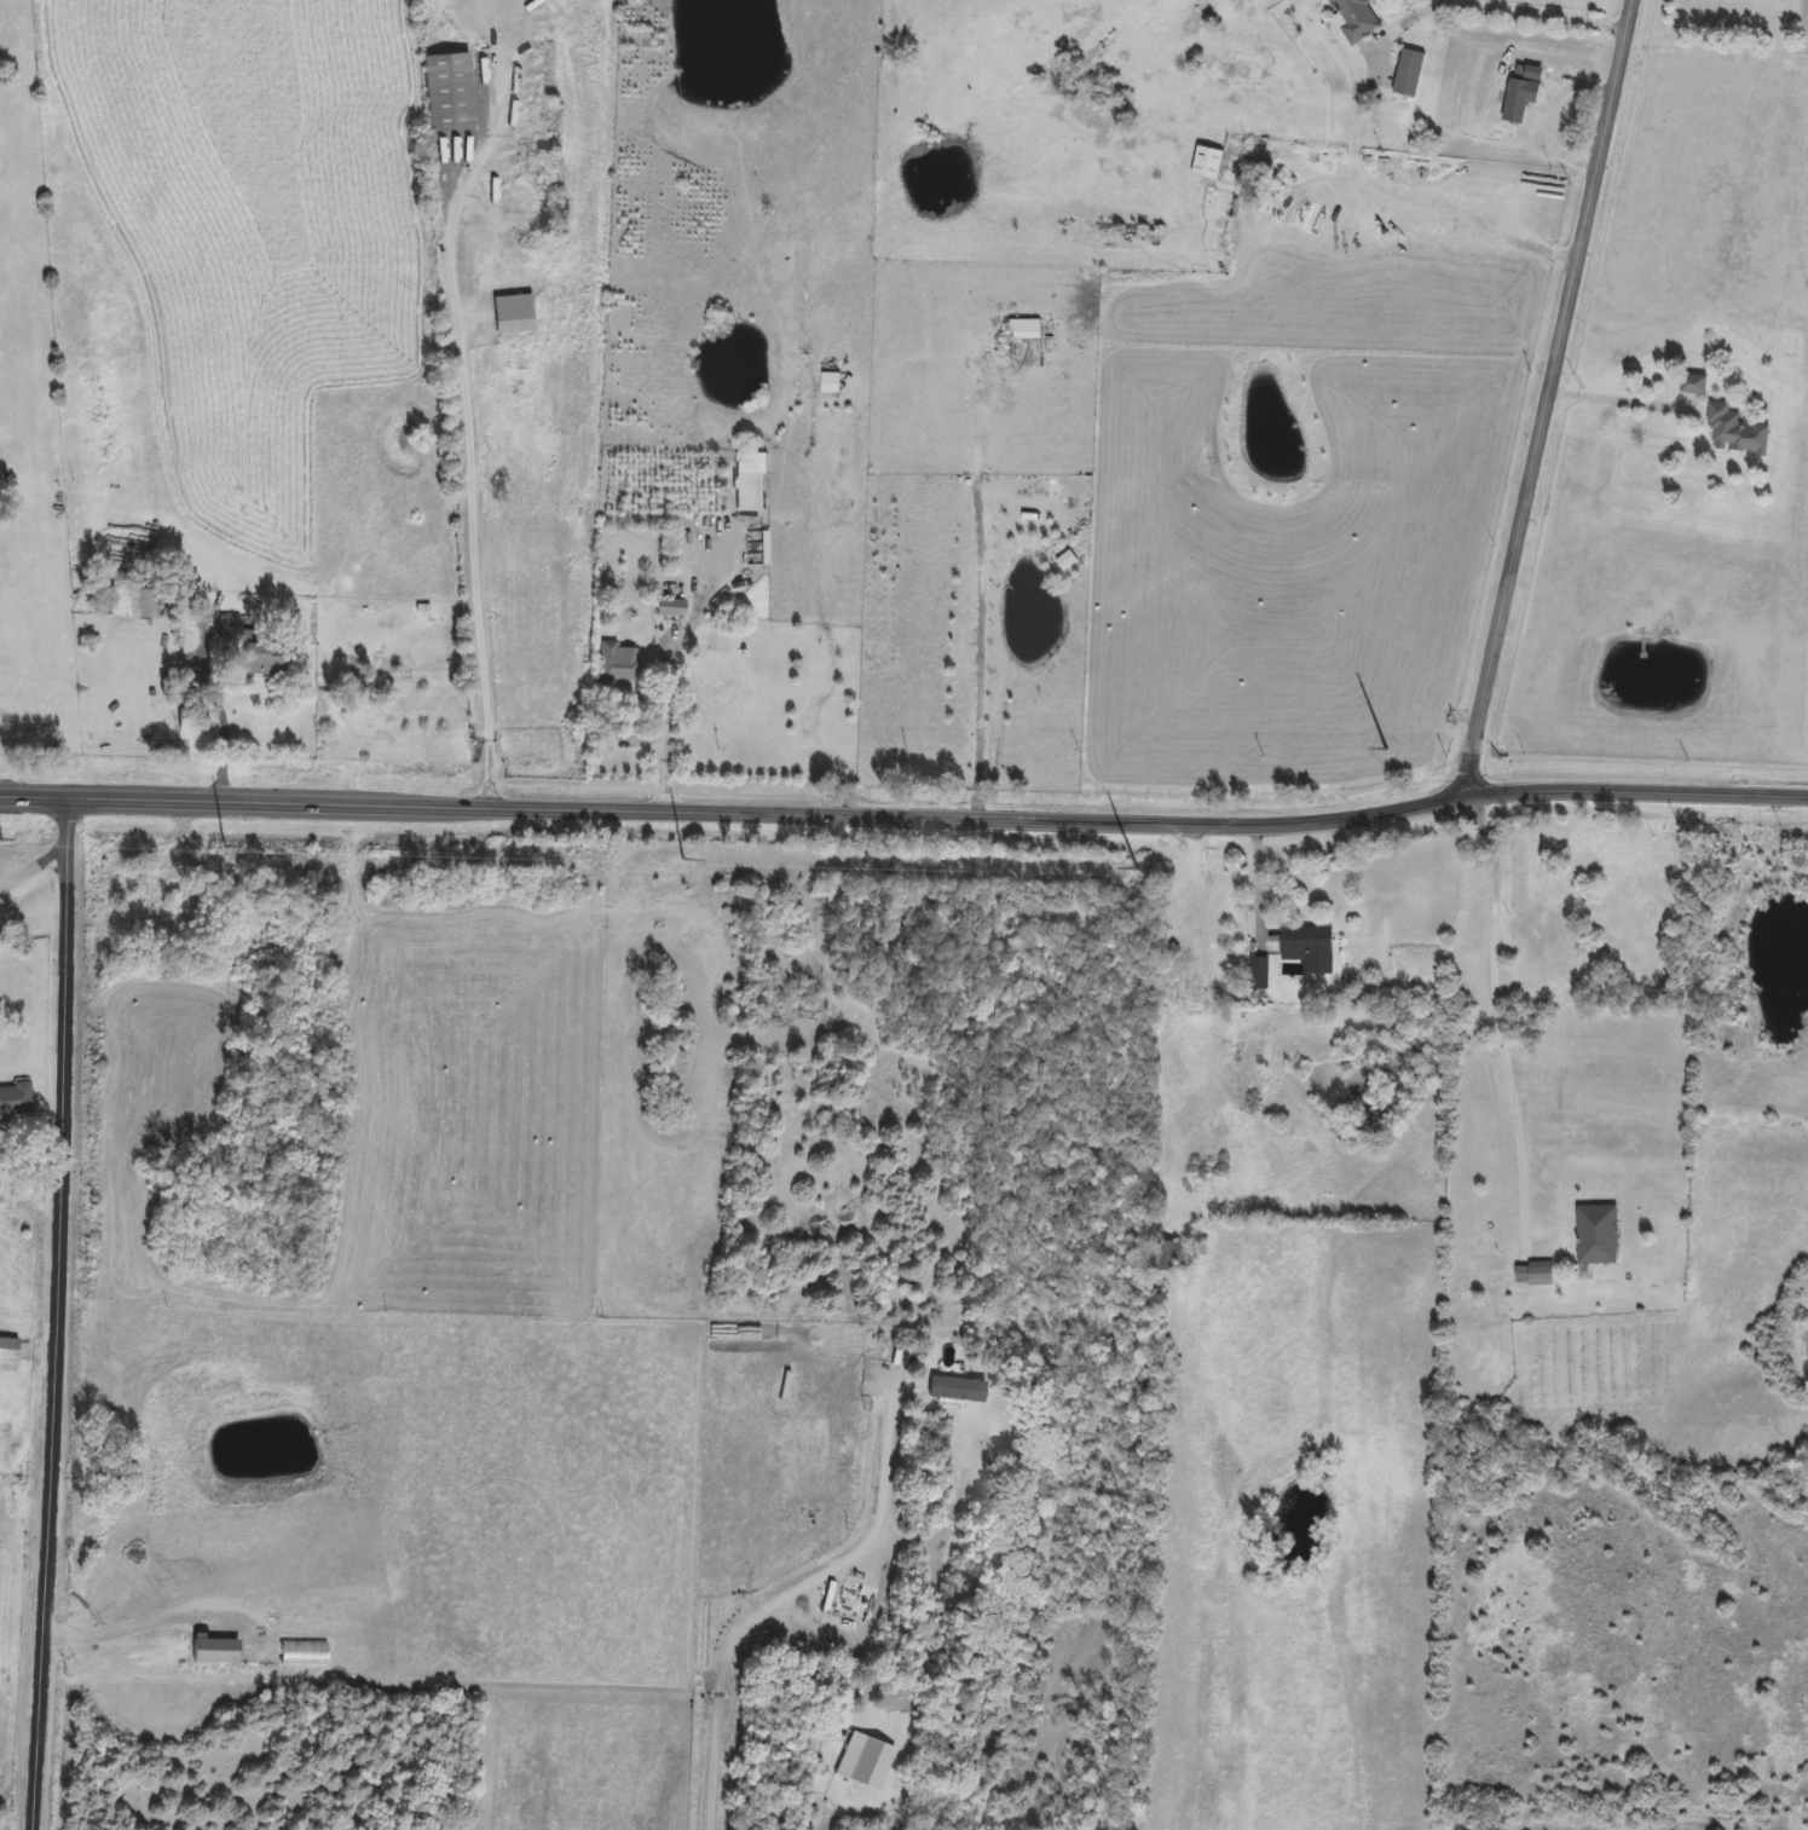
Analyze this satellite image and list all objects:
road: (1495, 12)
building: (1353, 19)
building: (1417, 76)
building: (452, 91)
building: (1525, 94)
road: (1549, 115)
building: (1209, 164)
building: (518, 314)
building: (832, 382)
building: (1688, 383)
road: (1544, 397)
road: (1615, 403)
building: (1729, 431)
road: (463, 446)
building: (752, 480)
building: (131, 598)
building: (674, 608)
building: (256, 646)
road: (977, 656)
building: (617, 665)
road: (669, 666)
road: (216, 715)
building: (192, 720)
road: (905, 816)
road: (31, 872)
road: (1252, 885)
building: (134, 912)
building: (1304, 948)
building: (1255, 975)
road: (1495, 1017)
building: (16, 1093)
building: (1593, 1235)
building: (1168, 1258)
building: (1530, 1274)
road: (60, 1314)
building: (10, 1347)
road: (787, 1594)

